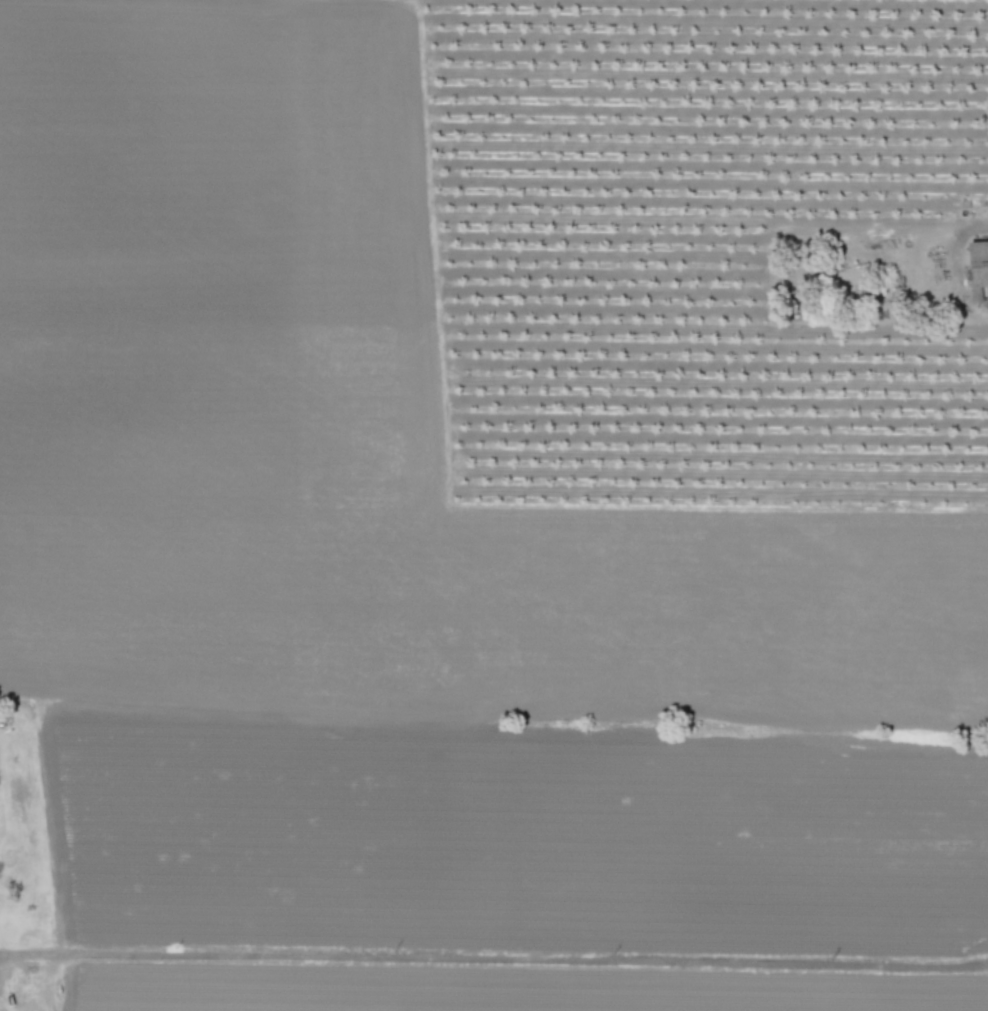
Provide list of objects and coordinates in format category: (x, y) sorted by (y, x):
crop: (685, 244)
building: (978, 270)
crop: (359, 428)
crop: (511, 857)
road: (494, 959)

